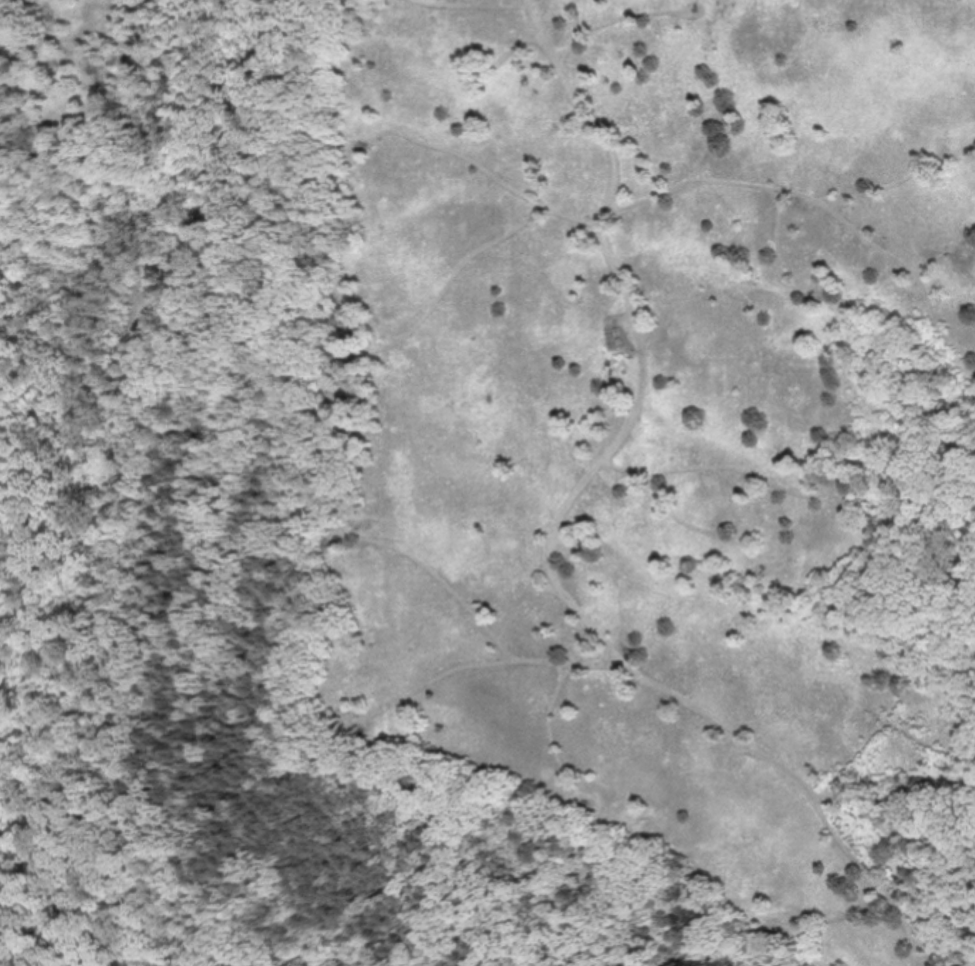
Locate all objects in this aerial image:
road: (471, 5)
road: (614, 17)
road: (509, 49)
road: (711, 145)
road: (476, 162)
road: (885, 185)
road: (797, 191)
road: (776, 236)
road: (447, 280)
road: (935, 316)
road: (626, 356)
road: (967, 368)
road: (626, 374)
road: (736, 468)
park: (487, 483)
road: (117, 484)
road: (677, 517)
road: (553, 532)
road: (574, 553)
road: (438, 576)
road: (449, 669)
road: (887, 716)
road: (548, 721)
road: (928, 742)
road: (939, 913)
road: (826, 918)
road: (184, 954)
road: (157, 963)

